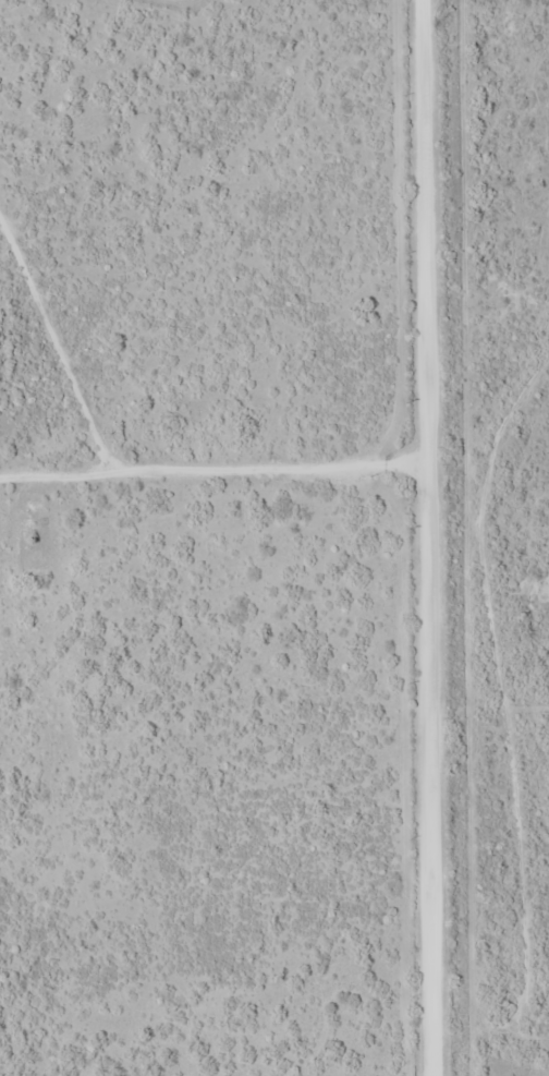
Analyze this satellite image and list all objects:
road: (215, 449)
road: (428, 539)
road: (487, 732)
road: (498, 827)

